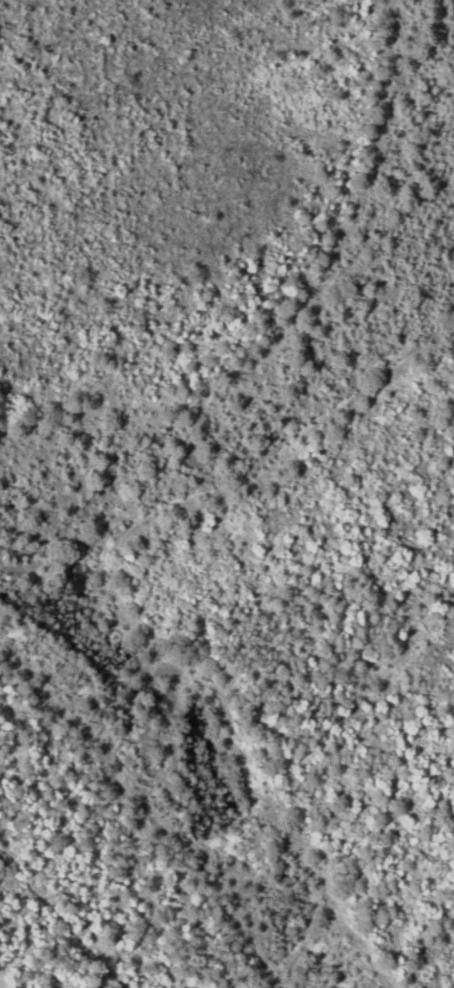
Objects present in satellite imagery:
park: (39, 946)

